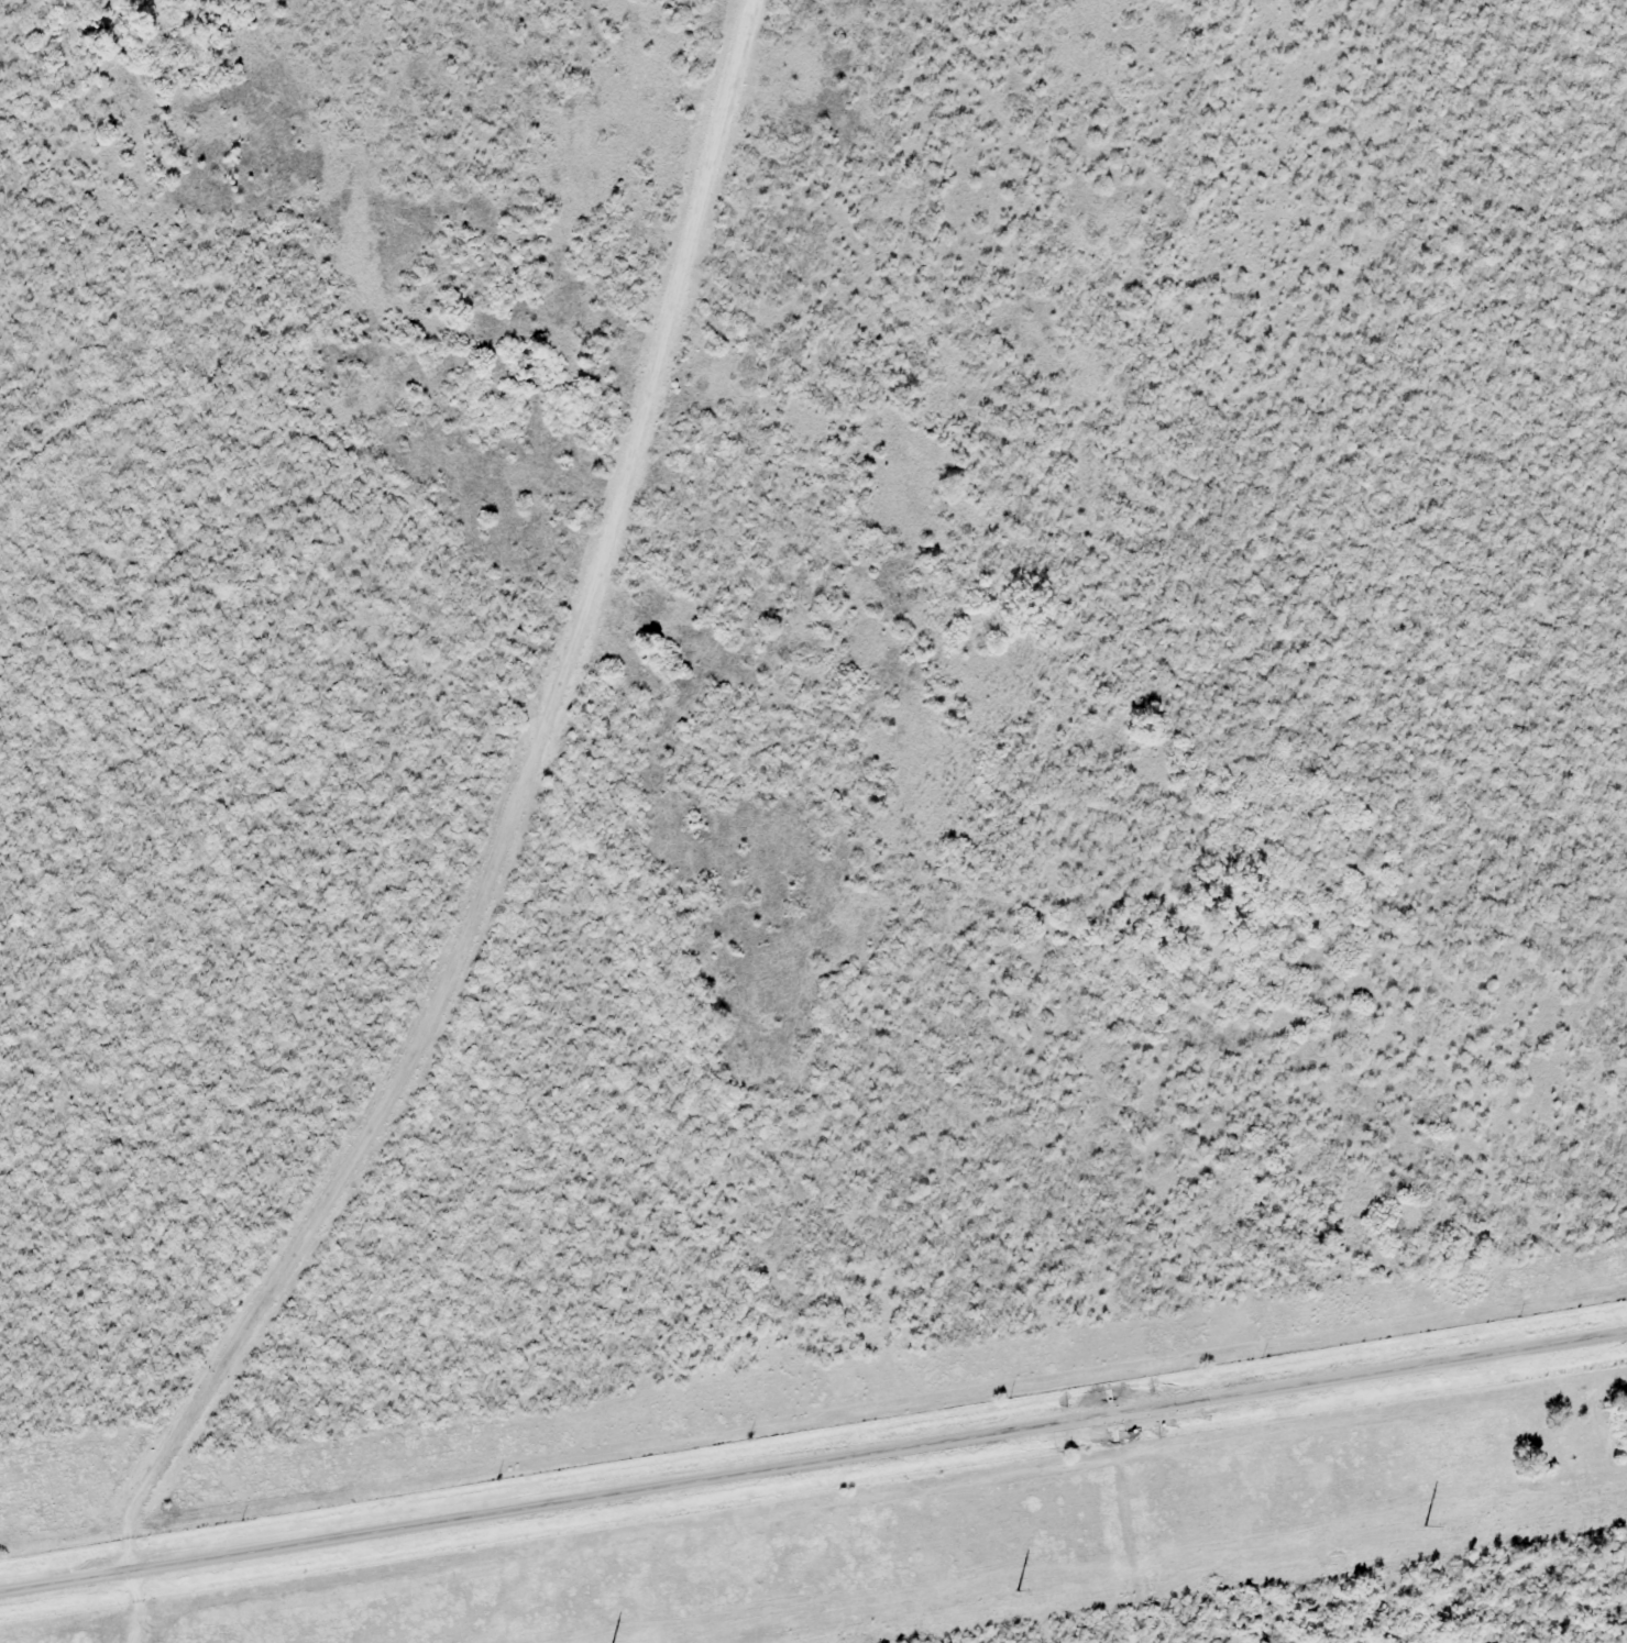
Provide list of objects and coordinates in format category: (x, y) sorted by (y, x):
road: (413, 849)
road: (813, 1458)
power tower: (1414, 1529)
power tower: (1005, 1594)

